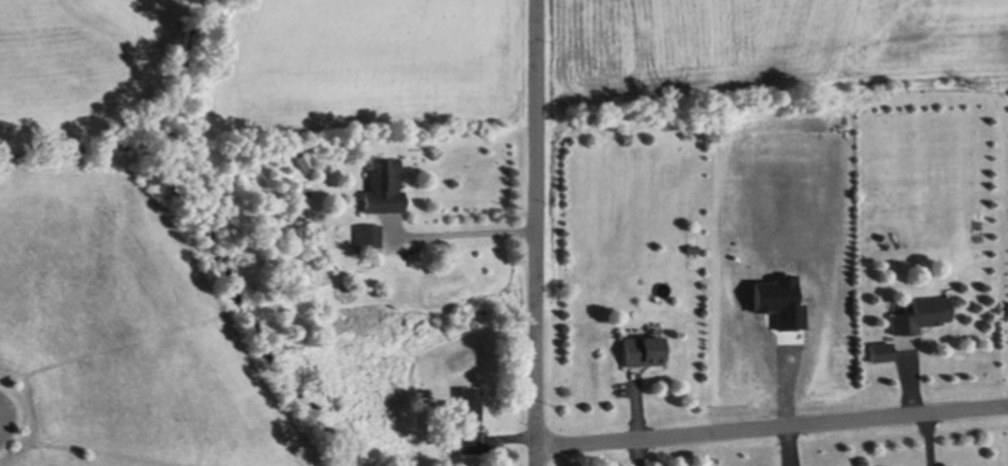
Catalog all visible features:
crop: (761, 48)
building: (305, 159)
building: (384, 185)
road: (462, 229)
road: (536, 233)
building: (368, 235)
building: (412, 251)
building: (923, 314)
building: (645, 349)
building: (471, 419)
road: (772, 425)

